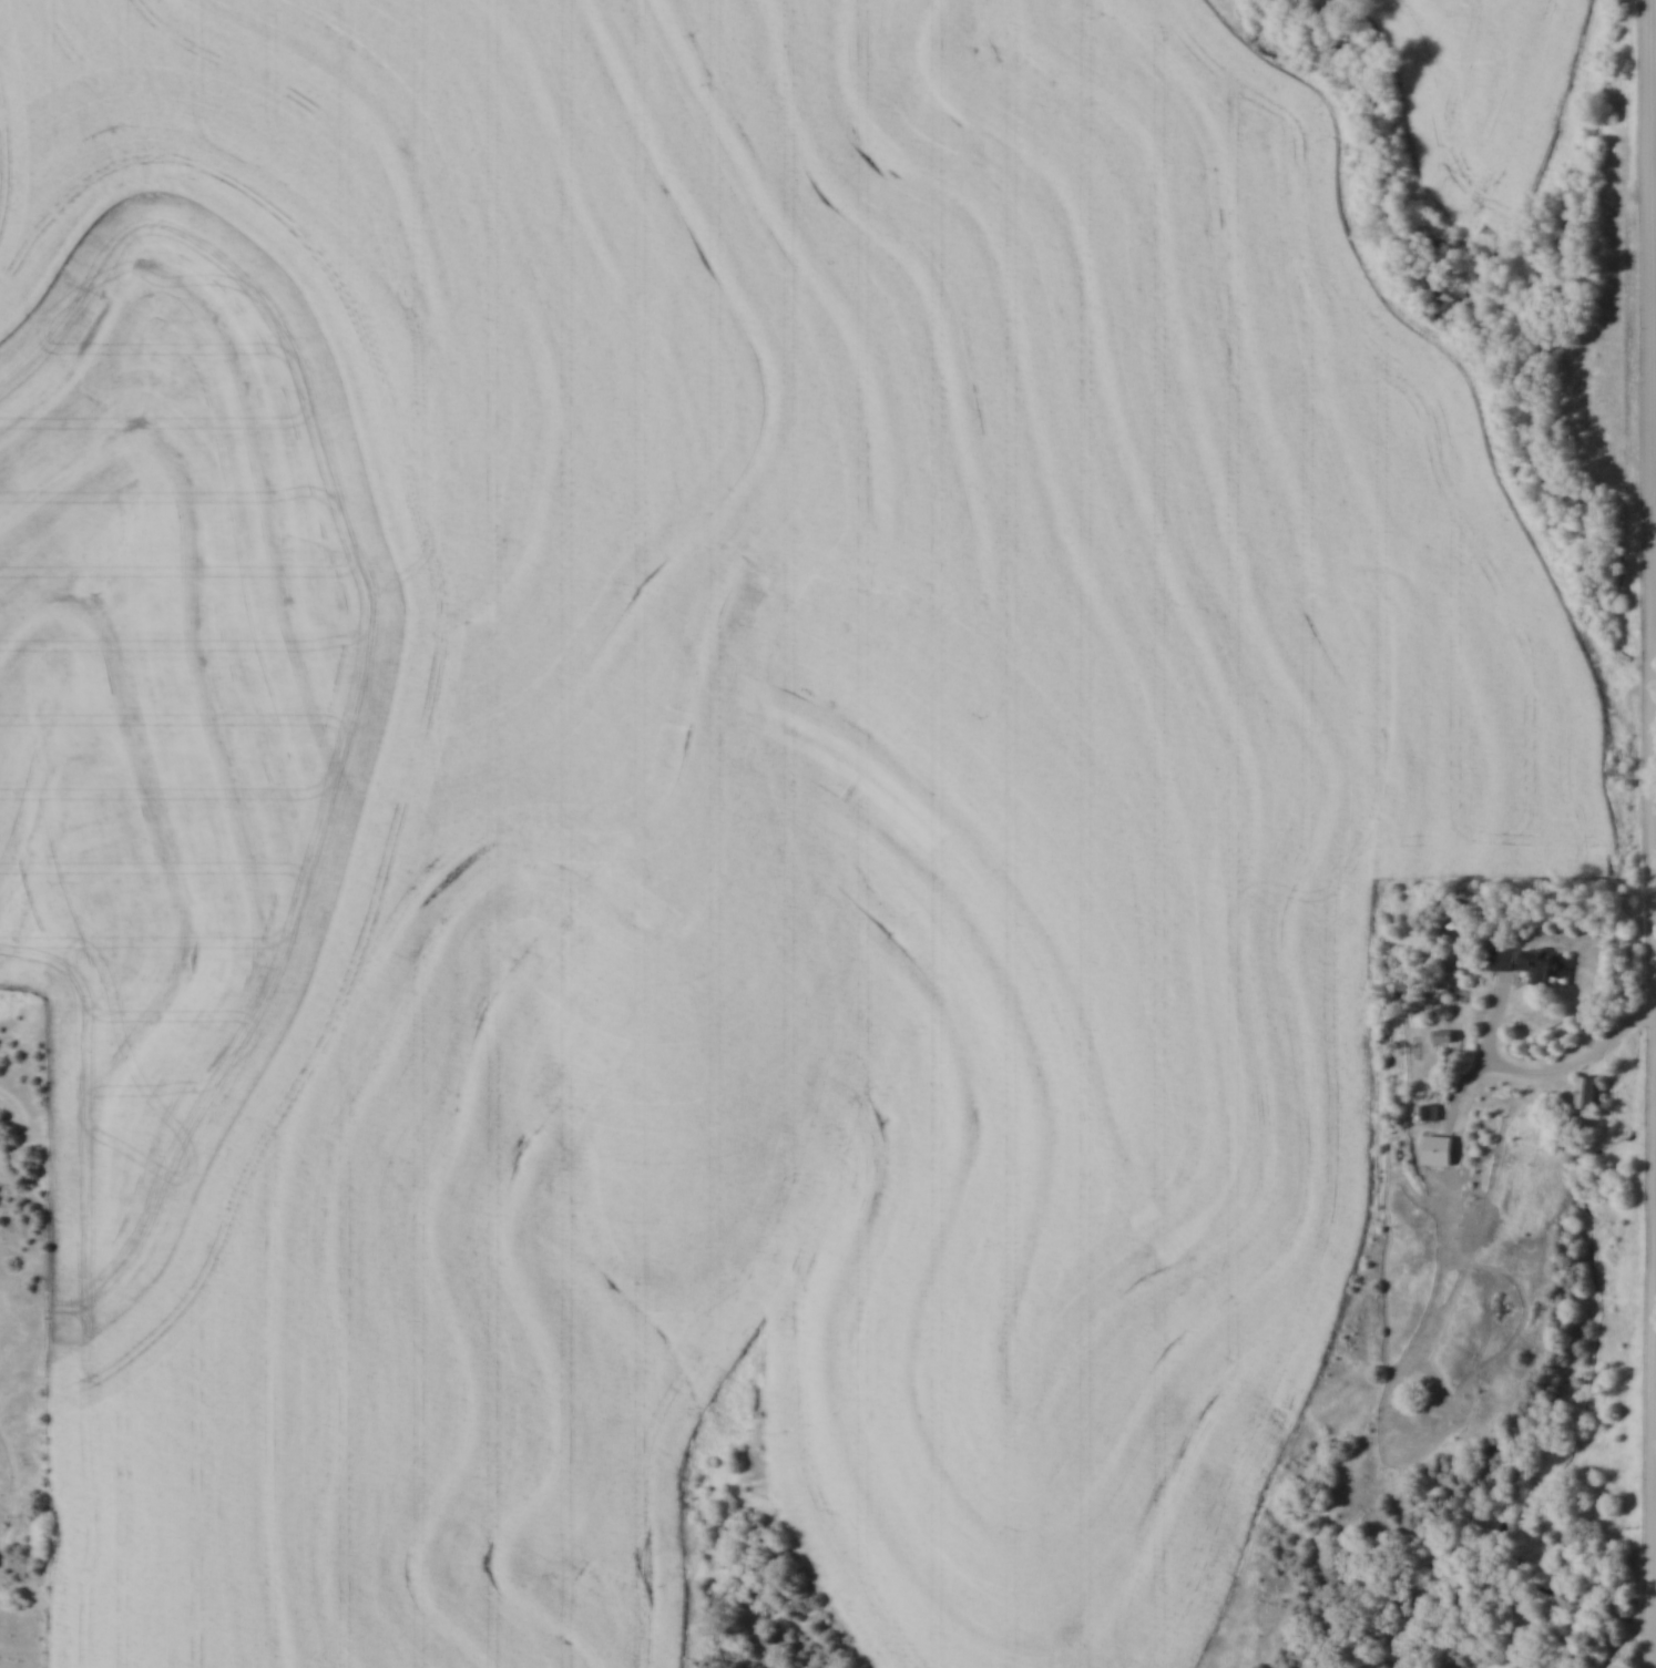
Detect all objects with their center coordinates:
road: (1654, 344)
building: (1531, 964)
building: (1445, 1036)
road: (1550, 1077)
building: (1592, 1093)
building: (1430, 1113)
road: (1652, 1565)

